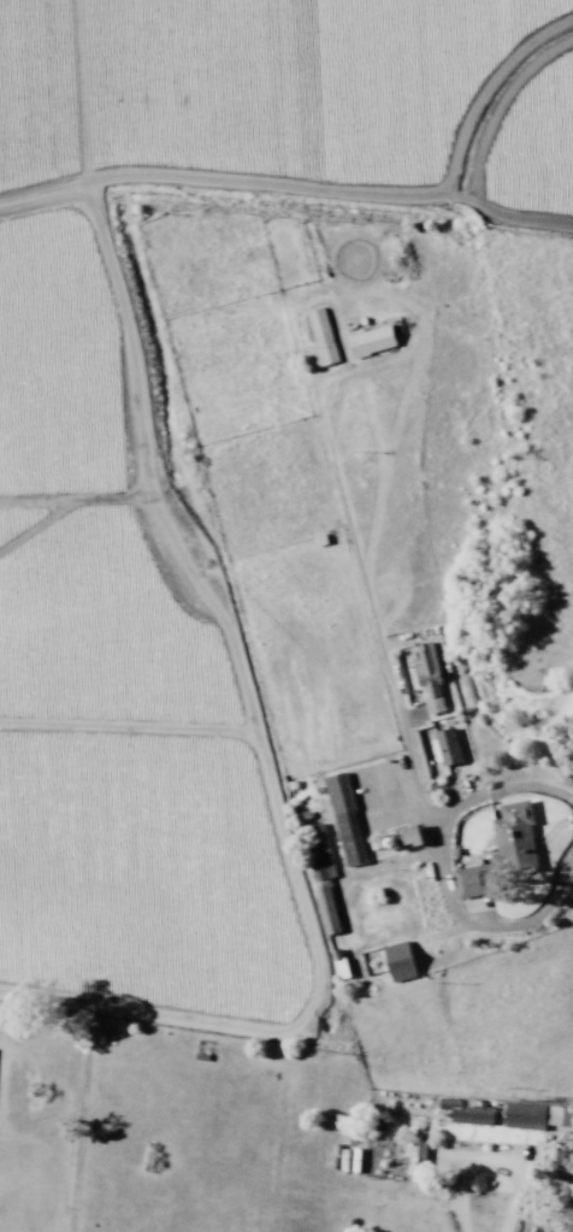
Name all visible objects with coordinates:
building: (320, 338)
building: (371, 340)
crop: (53, 512)
building: (429, 677)
road: (404, 732)
building: (448, 745)
building: (345, 819)
building: (412, 836)
building: (502, 849)
building: (325, 894)
building: (400, 961)
building: (342, 967)
crop: (515, 1013)
building: (468, 1110)
building: (525, 1115)
building: (560, 1115)
building: (418, 1157)
road: (460, 1196)

